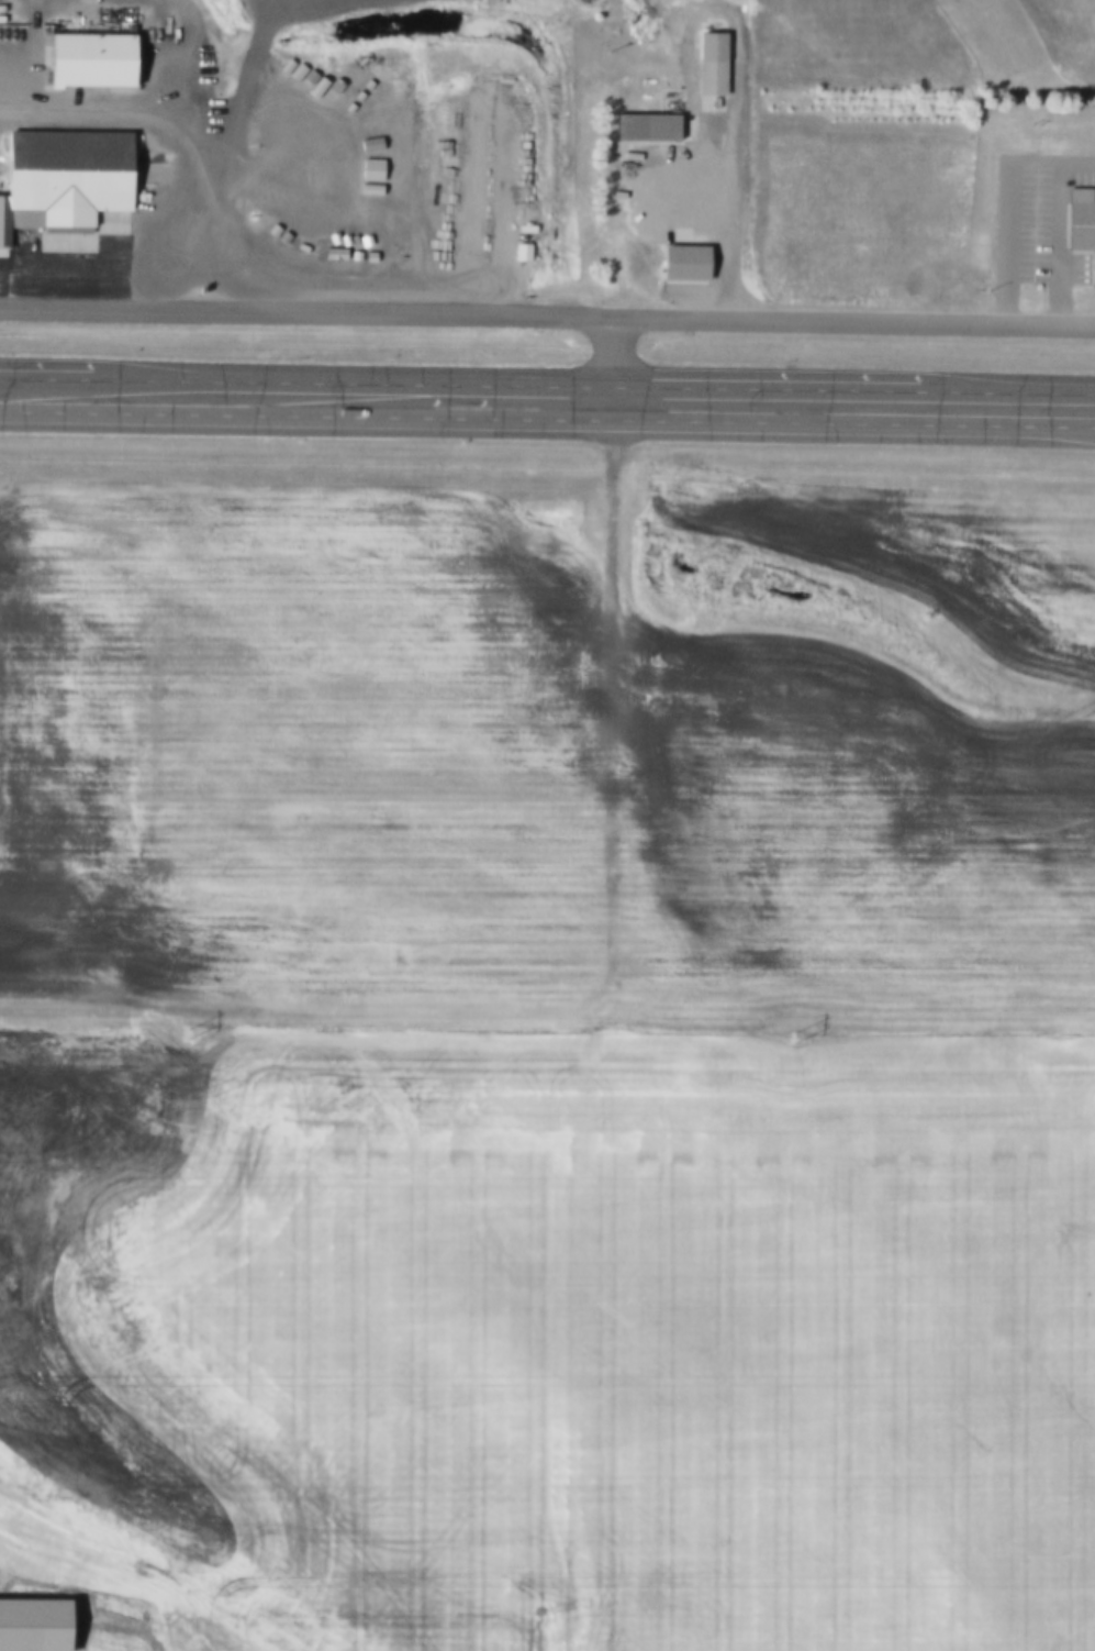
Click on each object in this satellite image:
building: (708, 55)
building: (87, 60)
building: (643, 120)
storage tank: (252, 123)
storage tank: (260, 123)
storage tank: (269, 123)
storage tank: (282, 125)
storage tank: (294, 125)
storage tank: (306, 125)
storage tank: (320, 126)
storage tank: (252, 132)
storage tank: (260, 132)
storage tank: (269, 132)
storage tank: (282, 140)
storage tank: (293, 140)
storage tank: (306, 140)
storage tank: (320, 140)
storage tank: (270, 141)
building: (62, 178)
road: (733, 214)
building: (248, 226)
building: (1081, 226)
building: (681, 257)
road: (547, 314)
road: (547, 385)
road: (547, 421)
road: (593, 1007)

